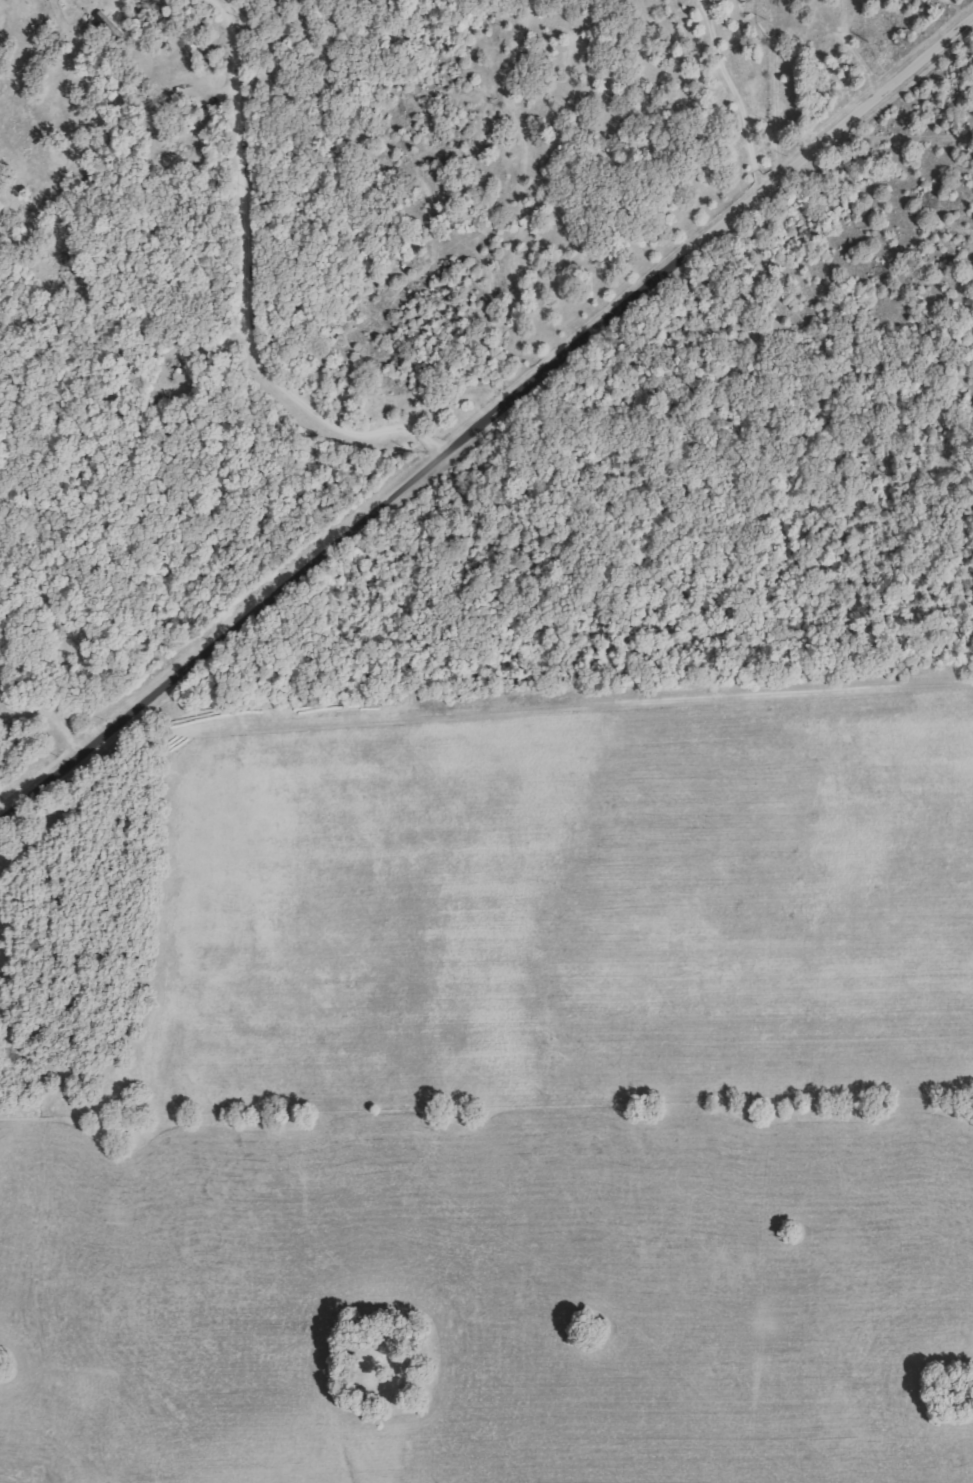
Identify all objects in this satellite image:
road: (487, 416)

